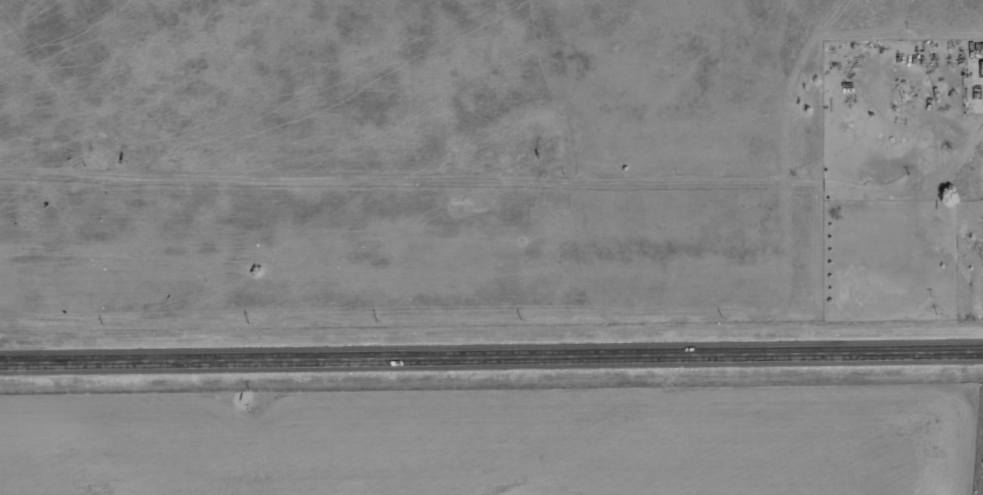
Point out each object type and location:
road: (491, 357)

